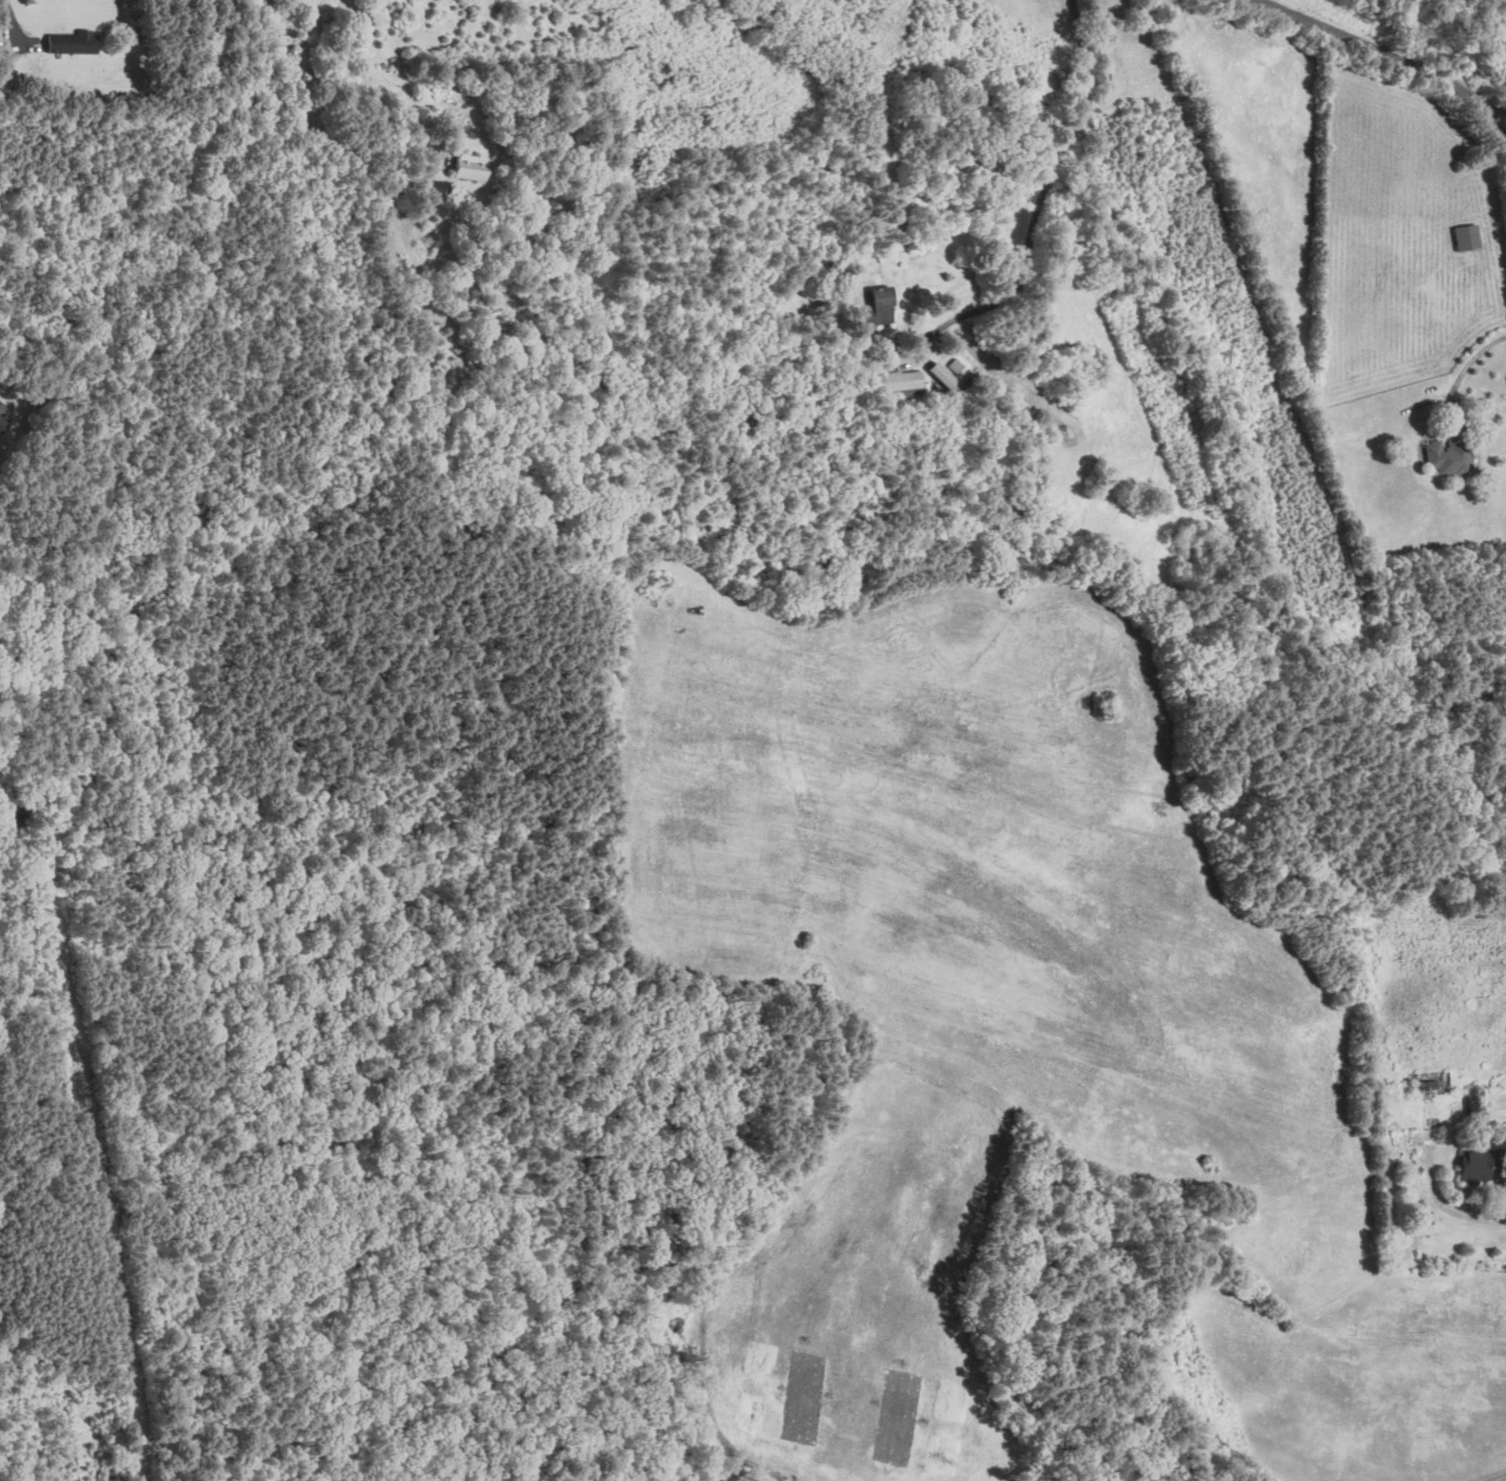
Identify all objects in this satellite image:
road: (12, 24)
road: (362, 34)
building: (71, 42)
road: (1394, 50)
road: (1499, 110)
road: (409, 113)
building: (474, 167)
road: (1042, 194)
building: (1462, 237)
building: (874, 307)
building: (954, 364)
road: (1468, 365)
building: (936, 373)
building: (897, 382)
building: (3, 416)
building: (1445, 458)
building: (1423, 1083)
building: (1467, 1167)
road: (1498, 1201)

